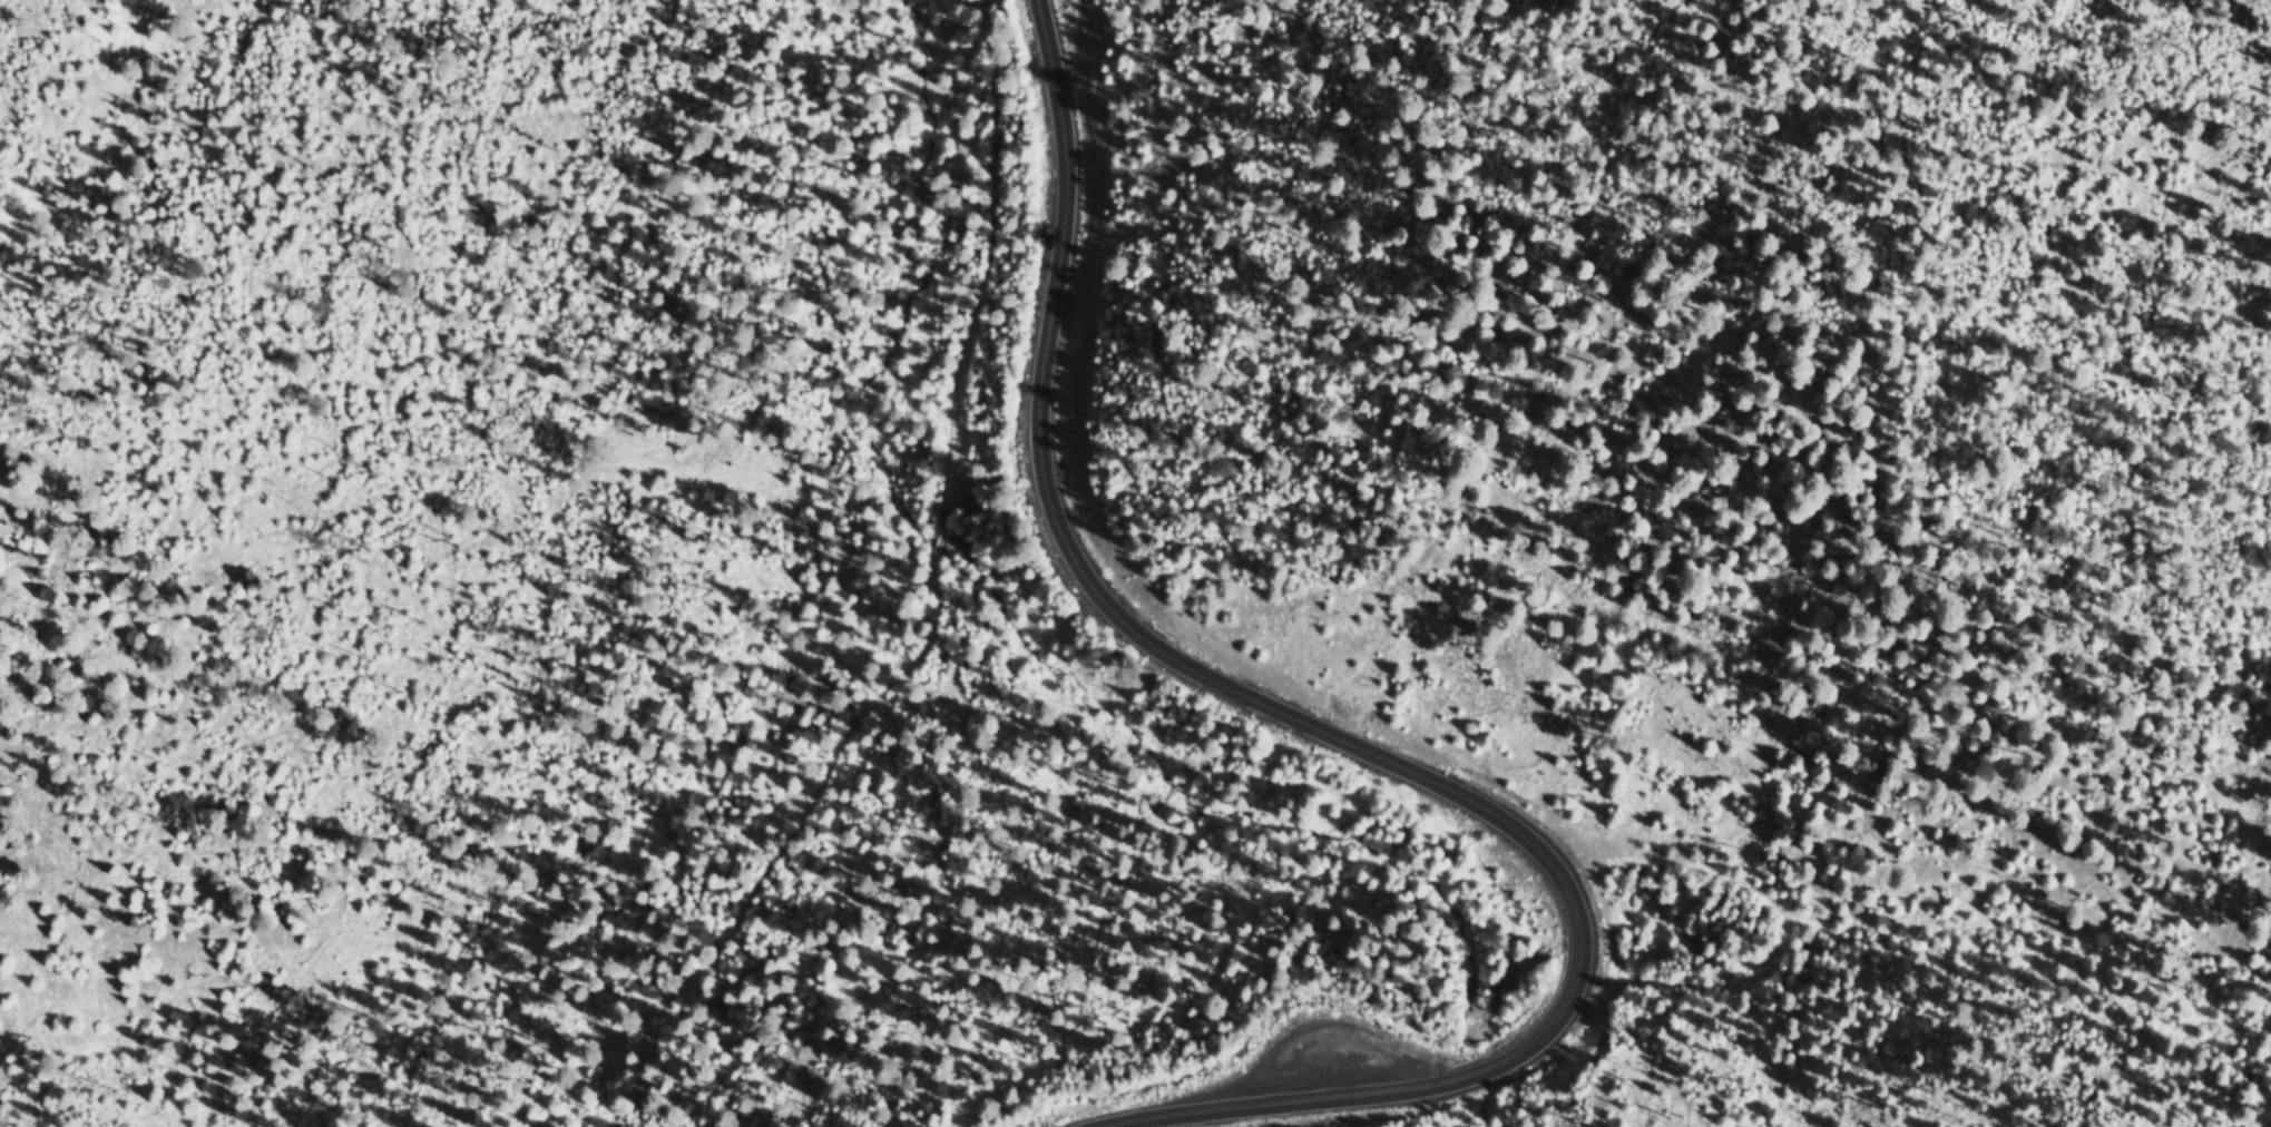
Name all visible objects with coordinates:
road: (882, 594)
road: (1340, 739)

